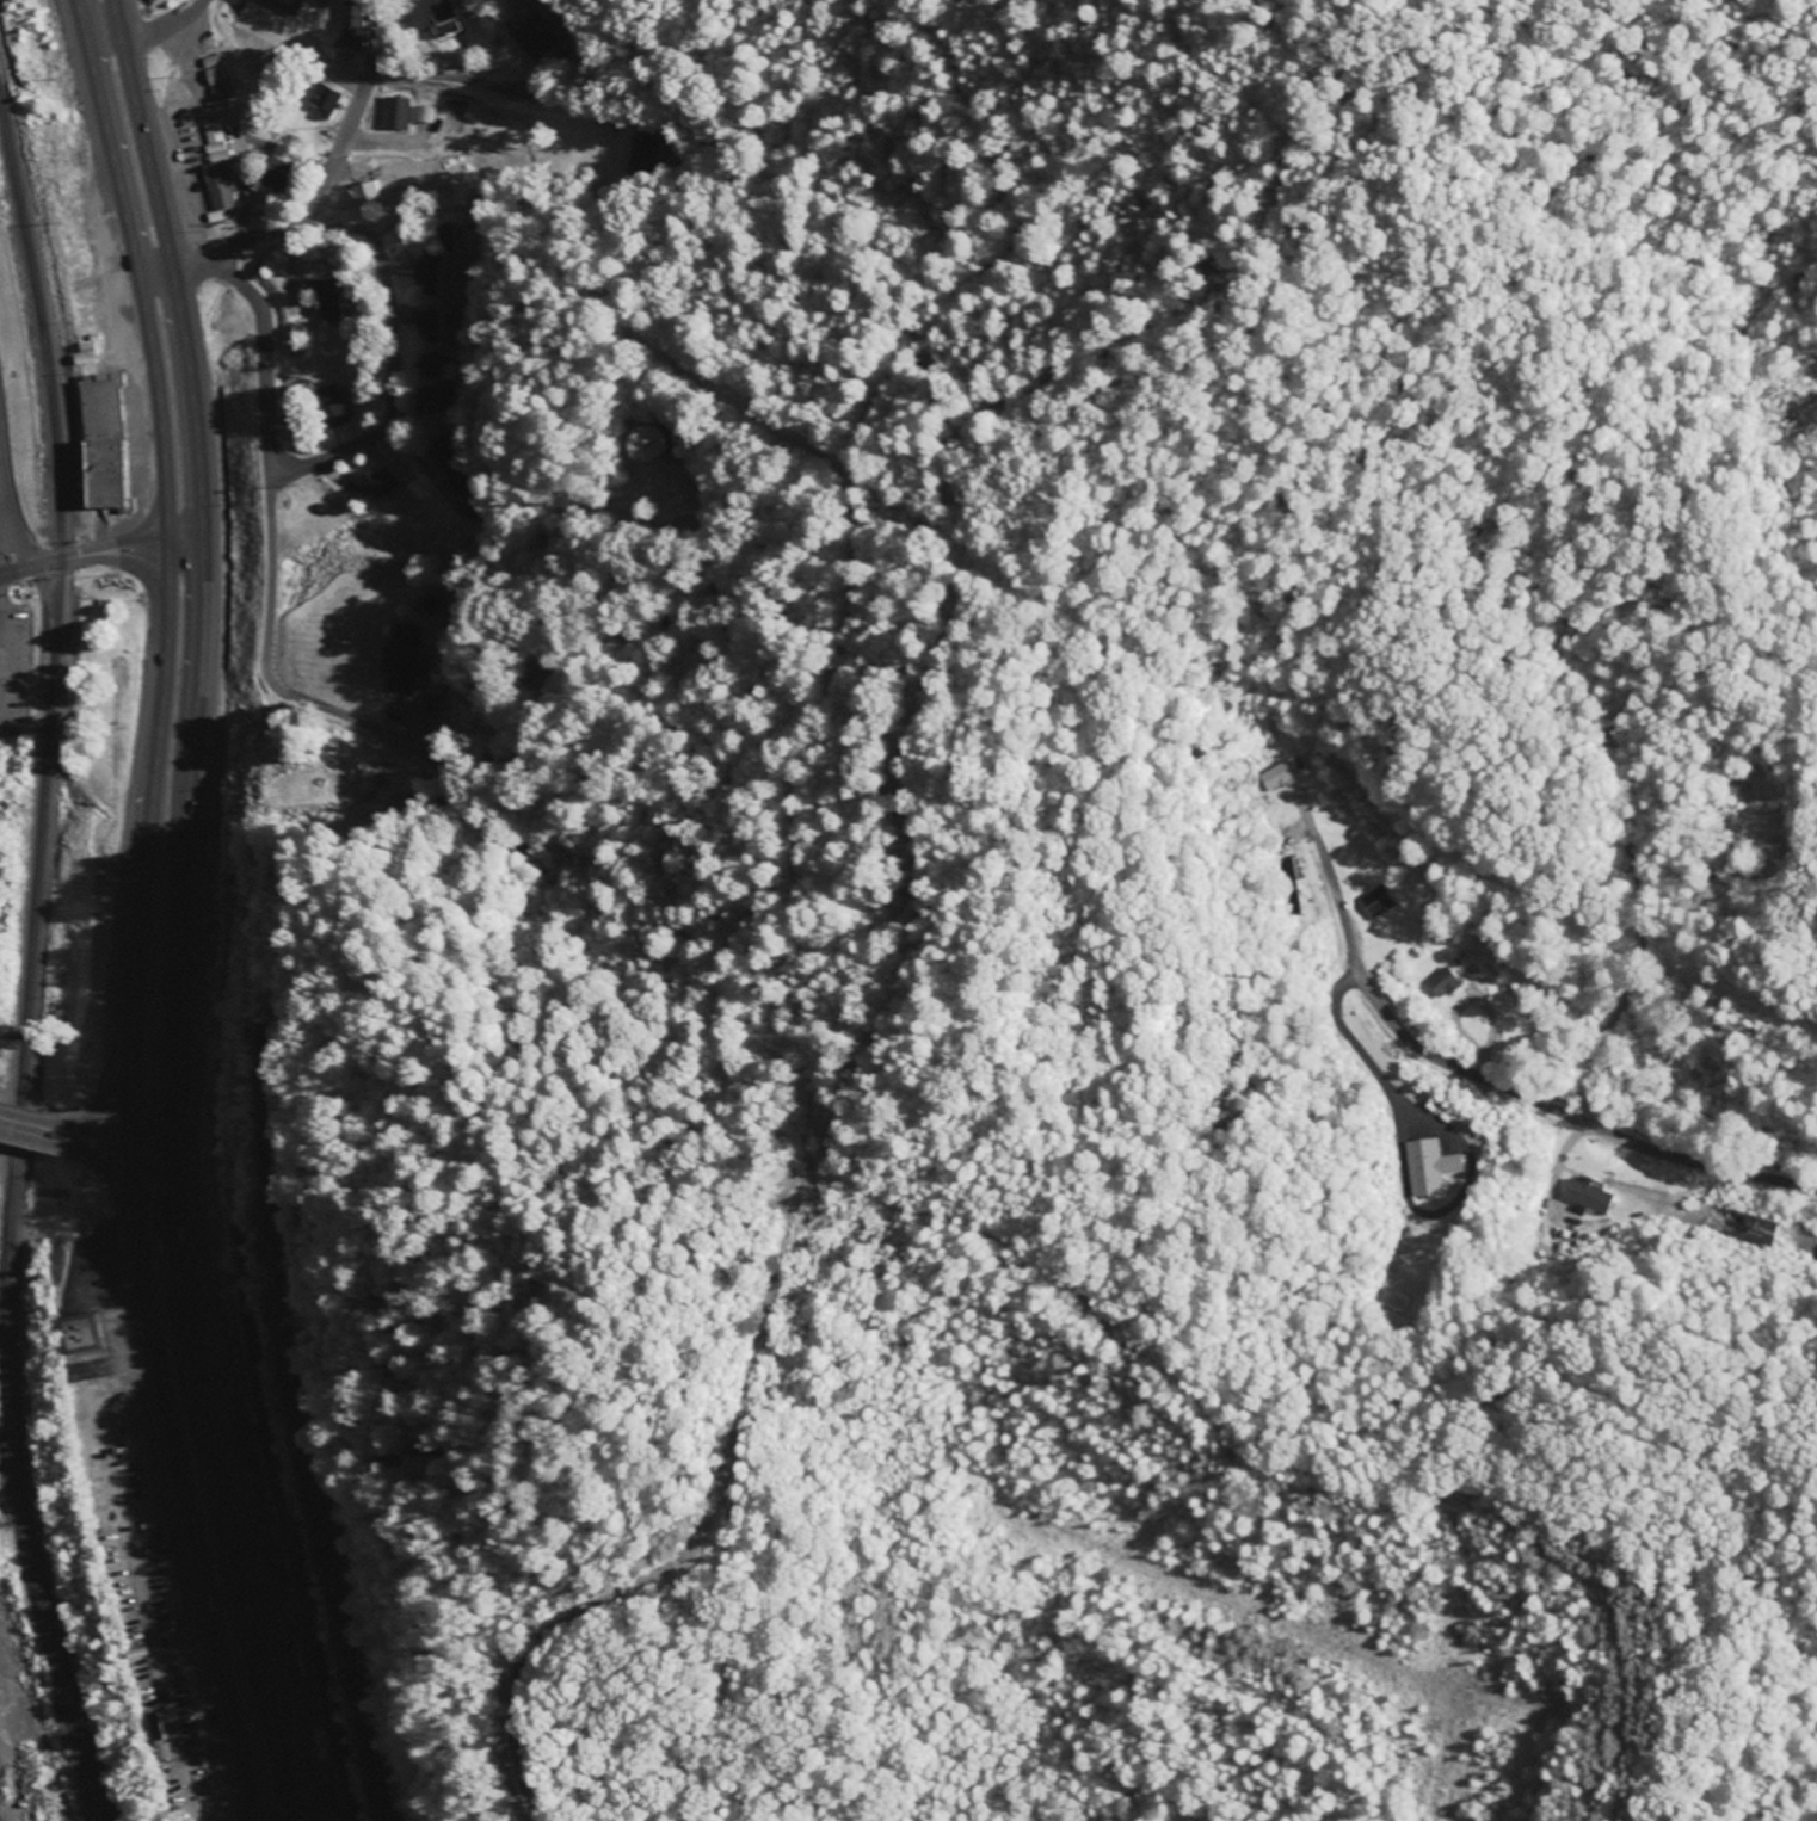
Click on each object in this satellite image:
building: (267, 19)
building: (448, 19)
road: (164, 25)
building: (532, 39)
road: (104, 47)
building: (209, 61)
building: (214, 75)
building: (325, 100)
building: (395, 113)
building: (423, 113)
building: (215, 142)
building: (279, 166)
road: (634, 185)
building: (218, 186)
building: (365, 195)
road: (316, 196)
building: (444, 235)
building: (325, 300)
road: (393, 388)
building: (331, 406)
building: (101, 442)
building: (380, 482)
road: (272, 541)
road: (101, 551)
road: (161, 564)
road: (205, 567)
building: (401, 660)
building: (1274, 773)
road: (1325, 870)
road: (1636, 887)
building: (1373, 901)
building: (1442, 982)
railway: (27, 983)
road: (1427, 1051)
road: (37, 1118)
road: (116, 1135)
traffic signals: (127, 1137)
traffic signals: (159, 1142)
road: (1698, 1162)
building: (1429, 1166)
building: (1585, 1196)
building: (1750, 1227)
building: (85, 1334)
road: (175, 1481)
road: (213, 1482)

